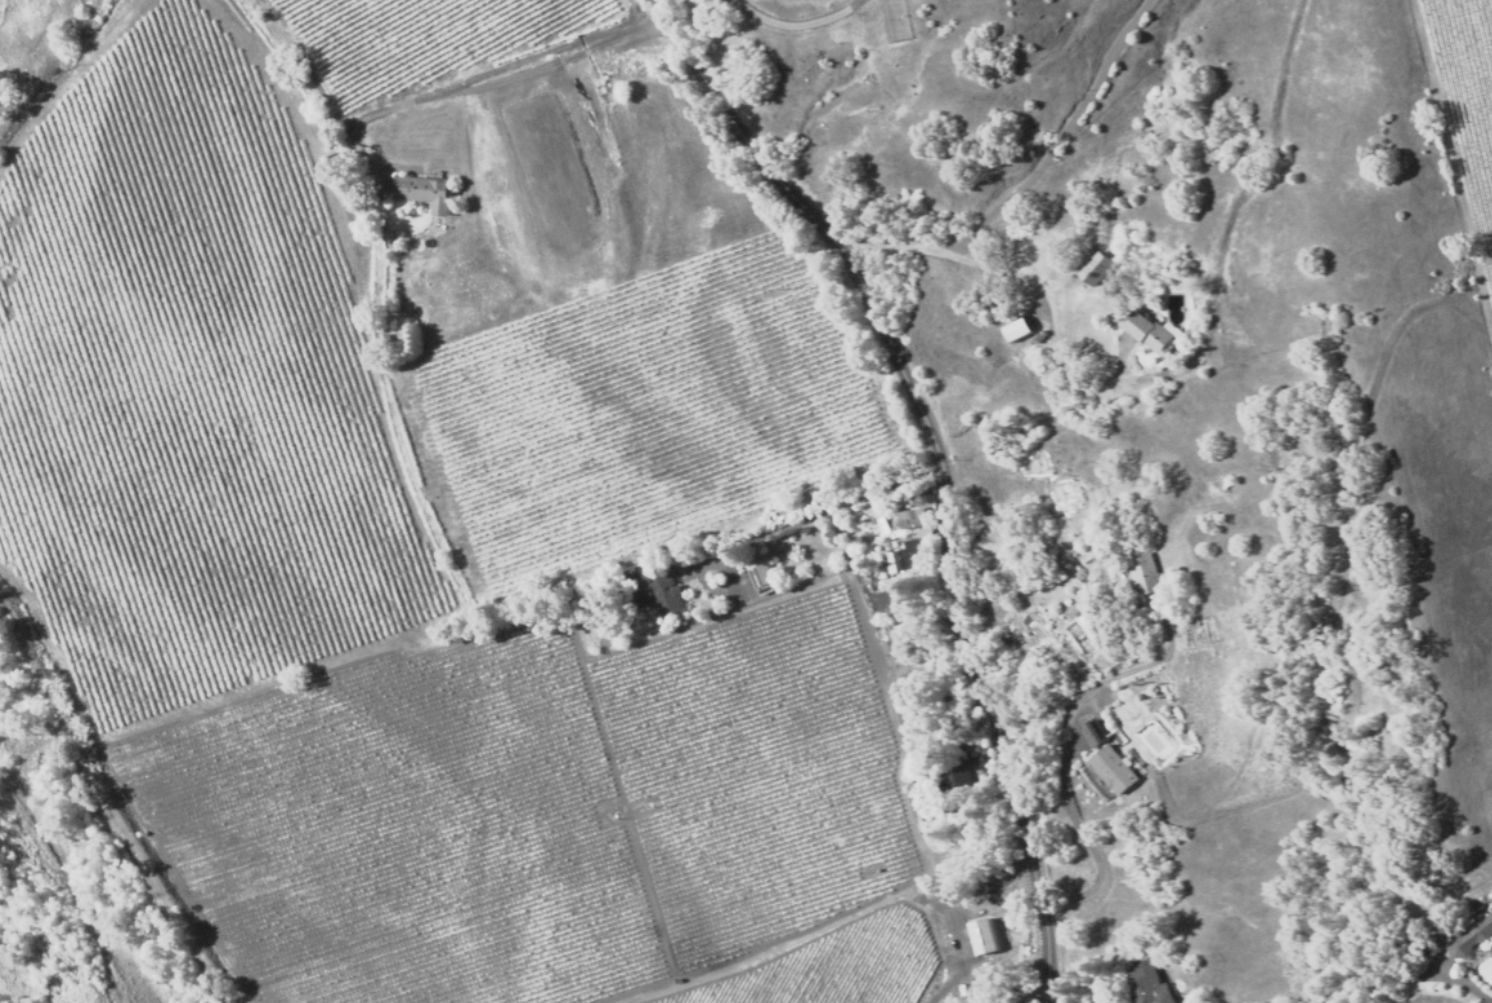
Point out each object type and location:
building: (422, 191)
building: (1094, 270)
road: (1032, 284)
building: (1015, 328)
building: (1170, 330)
building: (1147, 334)
road: (940, 468)
building: (910, 518)
building: (899, 556)
building: (1140, 574)
building: (759, 578)
building: (658, 594)
building: (1093, 738)
building: (1112, 773)
building: (949, 774)
building: (1491, 908)
building: (981, 935)
building: (1471, 936)
building: (1430, 945)
building: (1145, 987)

